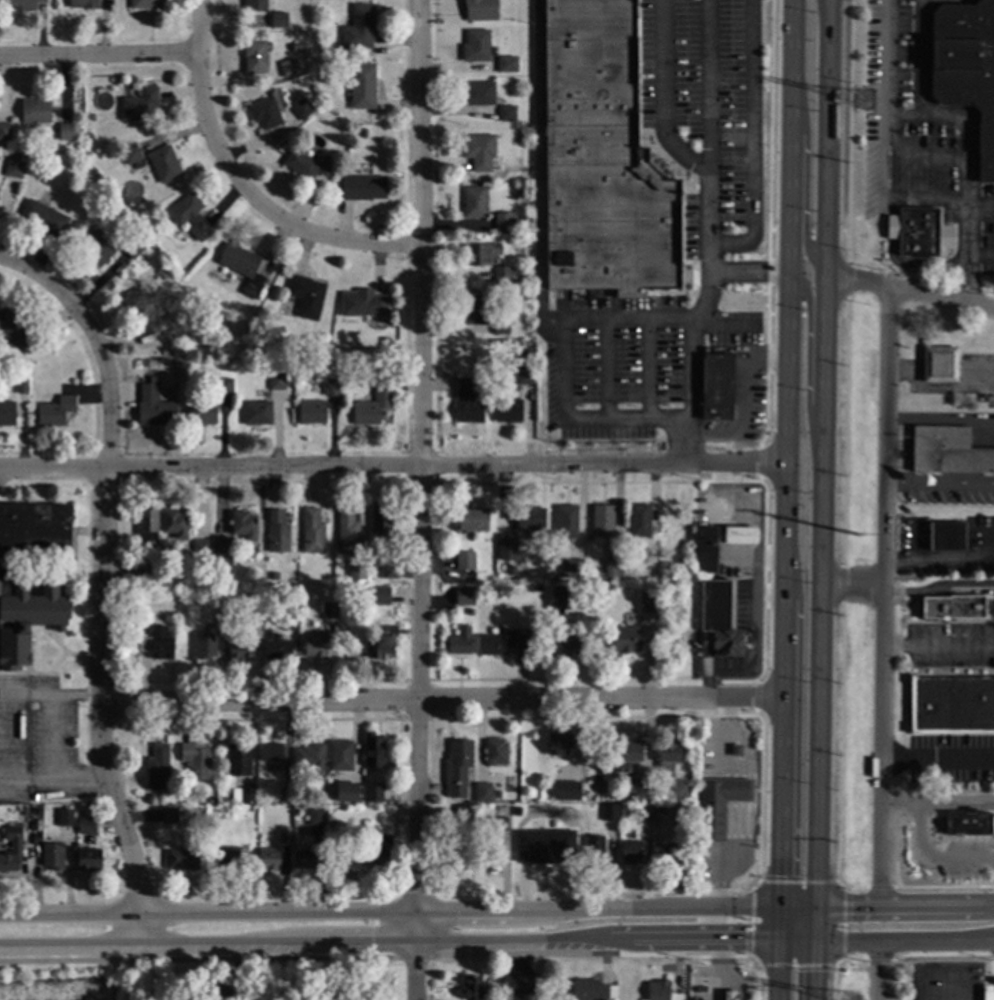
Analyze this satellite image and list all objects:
building: (84, 3)
building: (22, 4)
building: (146, 4)
building: (255, 4)
building: (479, 9)
road: (824, 9)
building: (279, 19)
building: (359, 27)
building: (476, 45)
building: (301, 46)
building: (319, 47)
road: (98, 52)
building: (254, 55)
road: (921, 58)
building: (507, 63)
building: (967, 64)
building: (288, 66)
building: (362, 85)
road: (705, 87)
building: (478, 92)
power tower: (865, 99)
building: (140, 104)
building: (301, 108)
building: (36, 110)
building: (265, 112)
building: (506, 112)
road: (959, 117)
building: (5, 131)
building: (66, 131)
building: (362, 132)
road: (752, 141)
building: (479, 150)
building: (133, 155)
road: (928, 158)
building: (602, 160)
building: (165, 163)
building: (307, 164)
building: (14, 168)
road: (541, 168)
road: (702, 169)
road: (803, 179)
building: (362, 186)
road: (893, 192)
road: (234, 195)
building: (474, 201)
road: (979, 210)
building: (190, 215)
building: (44, 216)
building: (503, 220)
building: (919, 230)
building: (95, 247)
building: (132, 247)
building: (481, 253)
road: (980, 256)
building: (243, 266)
building: (158, 267)
building: (504, 274)
building: (527, 282)
road: (909, 290)
building: (306, 295)
building: (363, 303)
building: (267, 305)
building: (476, 309)
building: (141, 310)
building: (501, 328)
building: (18, 330)
road: (94, 339)
building: (212, 340)
road: (807, 360)
building: (939, 363)
road: (562, 366)
building: (523, 368)
road: (688, 368)
building: (277, 380)
building: (21, 384)
building: (225, 386)
building: (331, 386)
building: (716, 386)
building: (467, 401)
building: (373, 402)
road: (747, 403)
building: (154, 406)
building: (507, 409)
building: (55, 410)
building: (311, 411)
building: (202, 412)
building: (257, 412)
building: (7, 413)
road: (941, 418)
building: (948, 450)
road: (820, 453)
road: (392, 466)
road: (784, 468)
flagpole: (924, 475)
road: (940, 483)
road: (419, 500)
building: (530, 517)
building: (470, 518)
building: (602, 519)
building: (640, 519)
building: (380, 520)
building: (566, 521)
building: (174, 523)
building: (244, 524)
building: (147, 526)
building: (347, 529)
building: (312, 530)
building: (277, 531)
building: (741, 535)
building: (946, 535)
building: (502, 540)
building: (201, 548)
building: (705, 549)
building: (223, 552)
building: (504, 554)
power tower: (859, 554)
building: (465, 559)
road: (939, 560)
building: (571, 567)
building: (613, 567)
building: (357, 570)
building: (388, 570)
building: (629, 571)
building: (540, 572)
building: (592, 574)
building: (150, 575)
building: (274, 575)
building: (695, 576)
building: (219, 577)
road: (939, 586)
building: (609, 587)
building: (538, 588)
building: (469, 589)
building: (14, 590)
road: (852, 591)
building: (379, 595)
road: (885, 596)
building: (557, 597)
building: (647, 601)
building: (253, 602)
building: (951, 606)
building: (329, 610)
building: (469, 610)
building: (222, 617)
building: (719, 620)
building: (292, 621)
building: (625, 638)
building: (460, 640)
building: (503, 641)
building: (157, 642)
building: (381, 642)
building: (314, 644)
building: (566, 644)
building: (205, 645)
road: (939, 646)
building: (277, 647)
building: (241, 648)
road: (440, 698)
building: (952, 703)
road: (99, 707)
road: (52, 739)
building: (560, 743)
road: (795, 746)
building: (373, 749)
building: (736, 749)
building: (271, 751)
building: (495, 751)
building: (340, 755)
building: (629, 755)
building: (668, 756)
building: (311, 757)
building: (239, 758)
parking lot: (950, 759)
building: (196, 760)
building: (457, 766)
road: (938, 766)
building: (158, 767)
building: (640, 788)
building: (681, 788)
building: (483, 791)
building: (350, 792)
building: (372, 792)
building: (570, 793)
building: (243, 794)
building: (386, 794)
building: (285, 795)
road: (951, 800)
road: (895, 802)
building: (718, 804)
building: (47, 805)
building: (66, 806)
road: (962, 806)
road: (735, 807)
building: (660, 808)
building: (609, 811)
building: (645, 812)
building: (170, 814)
building: (316, 815)
building: (463, 816)
building: (64, 818)
building: (685, 819)
building: (499, 823)
building: (968, 823)
building: (85, 825)
building: (539, 832)
building: (284, 834)
building: (12, 848)
building: (594, 849)
building: (630, 851)
building: (377, 852)
building: (341, 853)
building: (670, 853)
building: (53, 856)
building: (489, 856)
road: (925, 856)
road: (989, 856)
building: (231, 857)
building: (456, 857)
building: (523, 857)
building: (269, 858)
building: (304, 858)
building: (87, 859)
building: (183, 859)
parking lot: (965, 861)
road: (989, 861)
road: (35, 873)
road: (69, 876)
road: (796, 880)
road: (752, 881)
road: (841, 883)
road: (903, 906)
traffic signals: (778, 907)
road: (796, 907)
traffic signals: (814, 907)
road: (388, 910)
road: (913, 915)
road: (749, 921)
road: (712, 923)
road: (843, 923)
road: (885, 935)
traffic signals: (777, 937)
traffic signals: (814, 937)
road: (704, 938)
road: (315, 943)
road: (796, 951)
road: (814, 953)
road: (682, 956)
road: (308, 958)
road: (750, 962)
road: (839, 963)
road: (795, 966)
road: (878, 967)
road: (718, 968)
road: (776, 968)
road: (939, 973)
parking lot: (944, 981)
building: (518, 983)
building: (472, 986)
building: (593, 989)
building: (658, 989)
building: (214, 992)
building: (986, 993)
building: (732, 995)
power tower: (851, 999)

